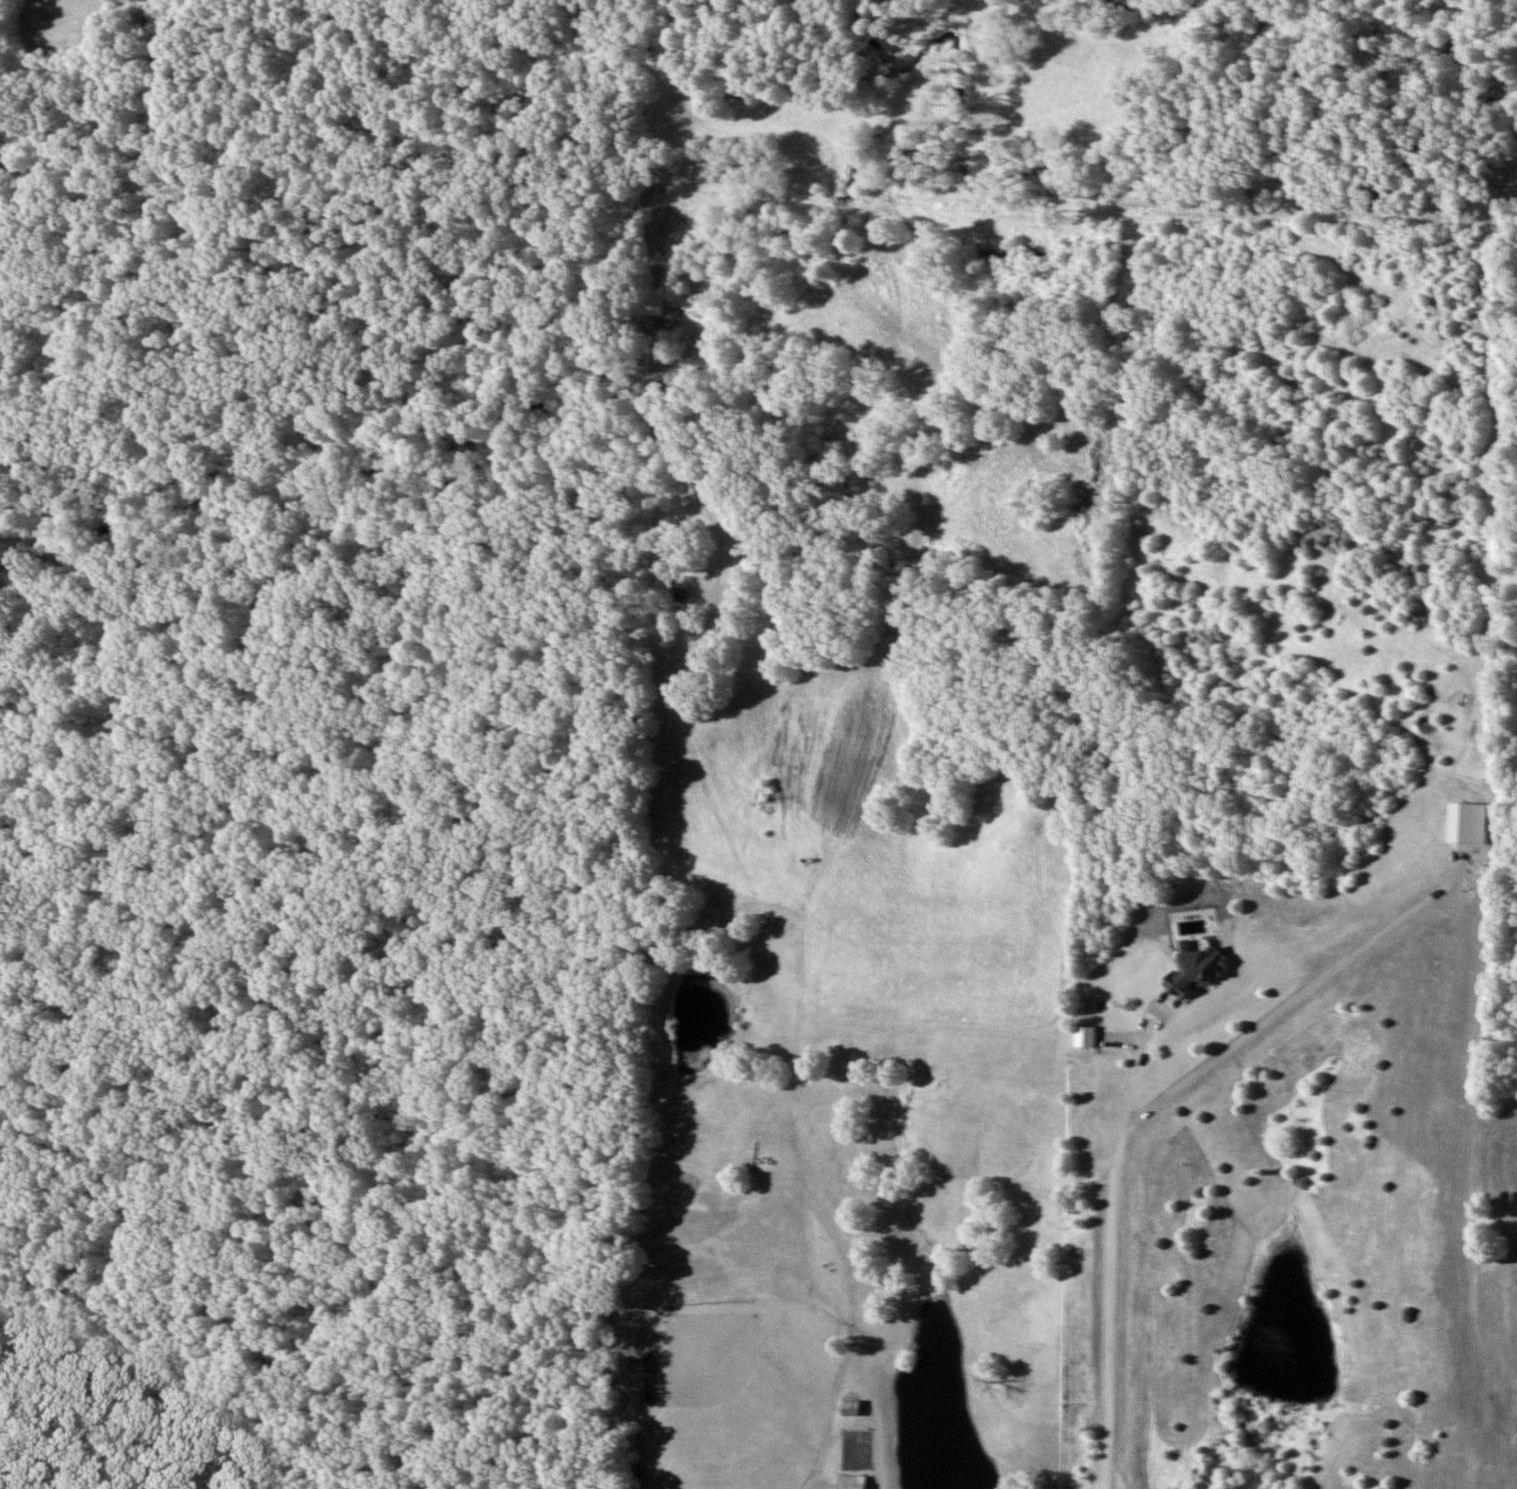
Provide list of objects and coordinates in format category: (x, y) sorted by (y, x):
building: (1469, 824)
building: (1193, 969)
building: (851, 1407)
building: (852, 1482)

